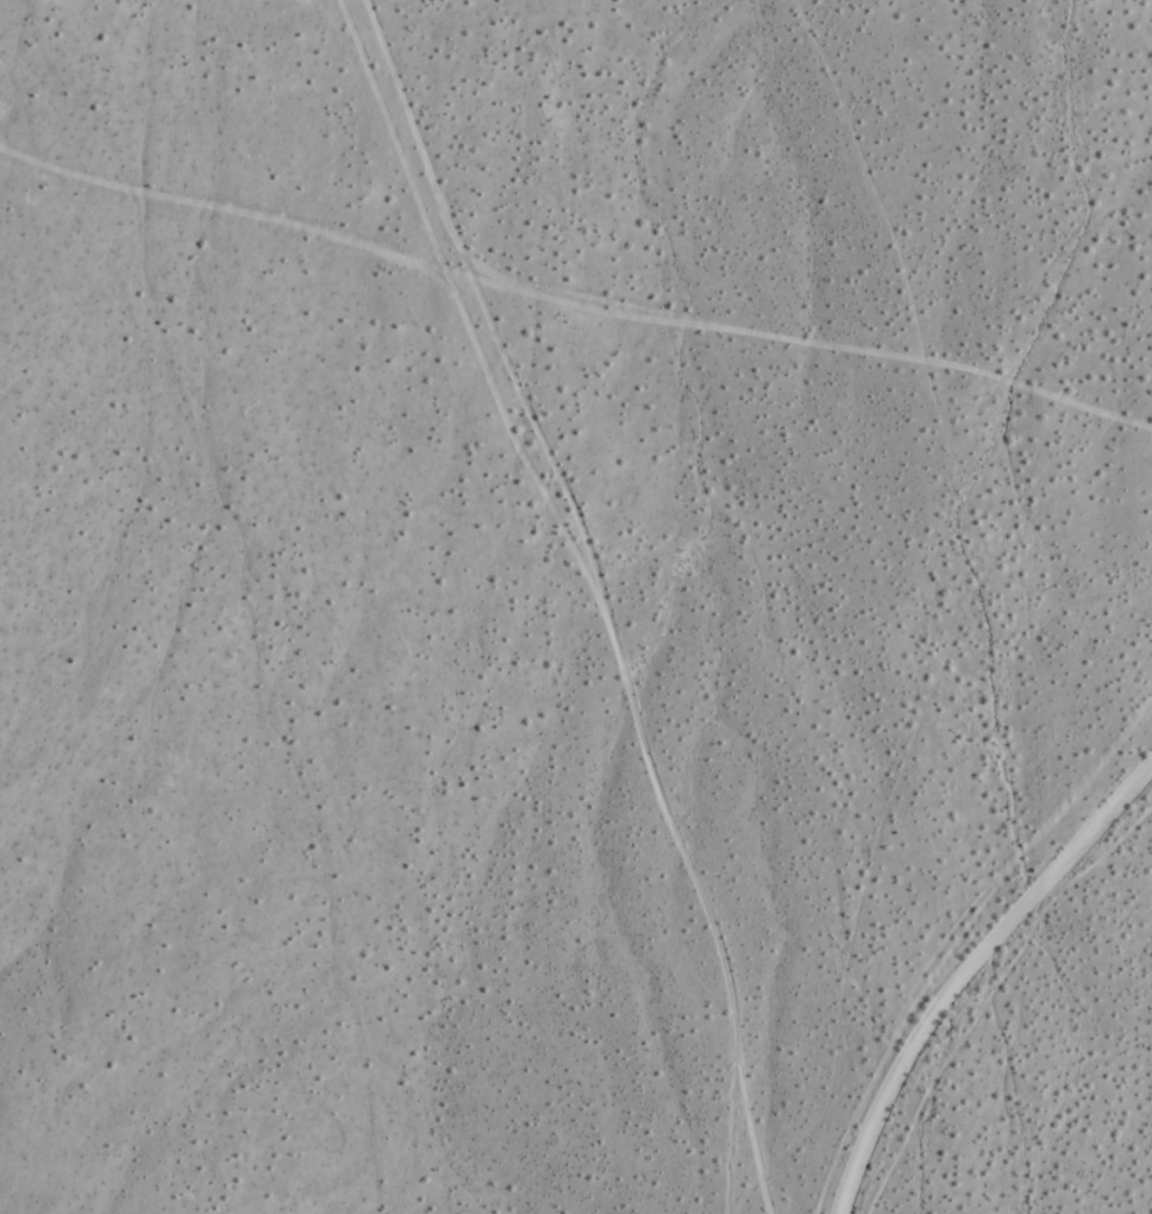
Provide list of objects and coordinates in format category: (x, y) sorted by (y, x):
road: (968, 963)

